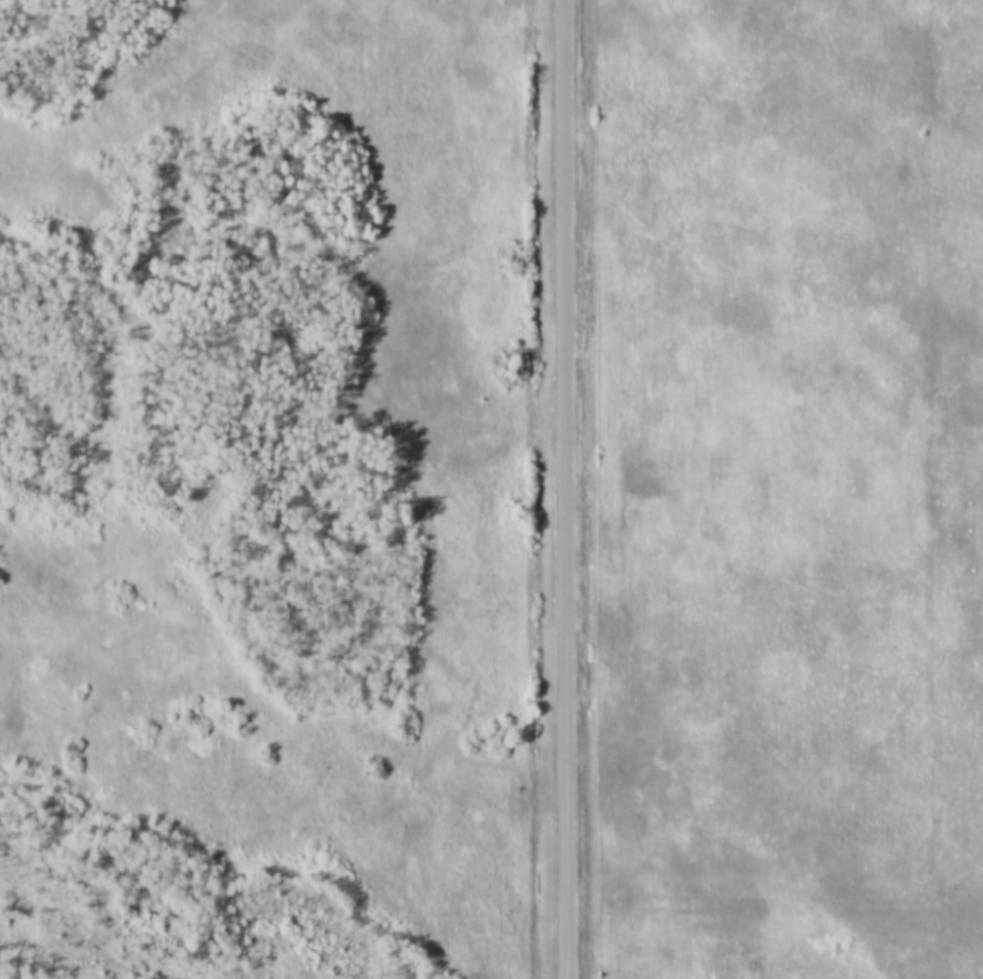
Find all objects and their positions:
road: (562, 489)

